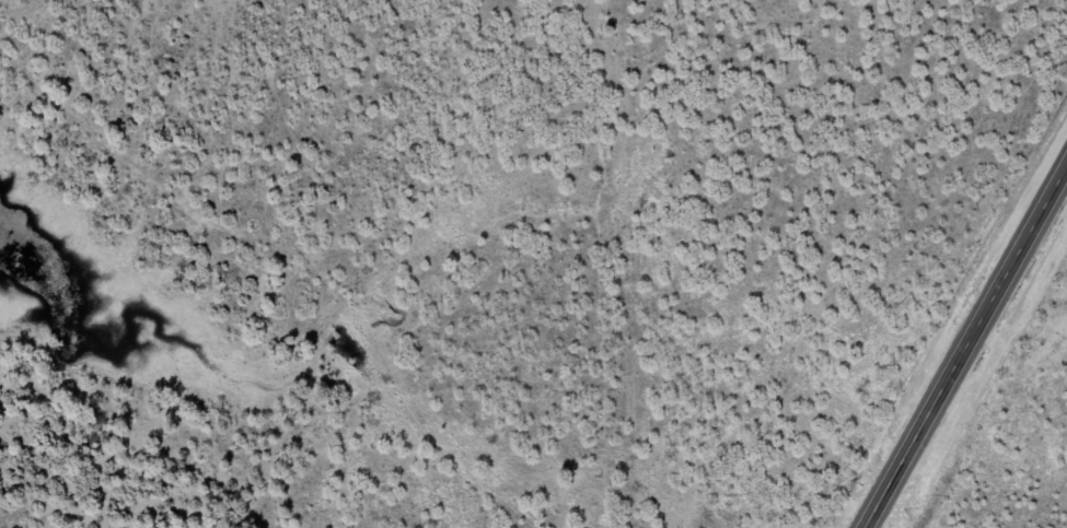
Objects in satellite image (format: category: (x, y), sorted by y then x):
road: (964, 345)

